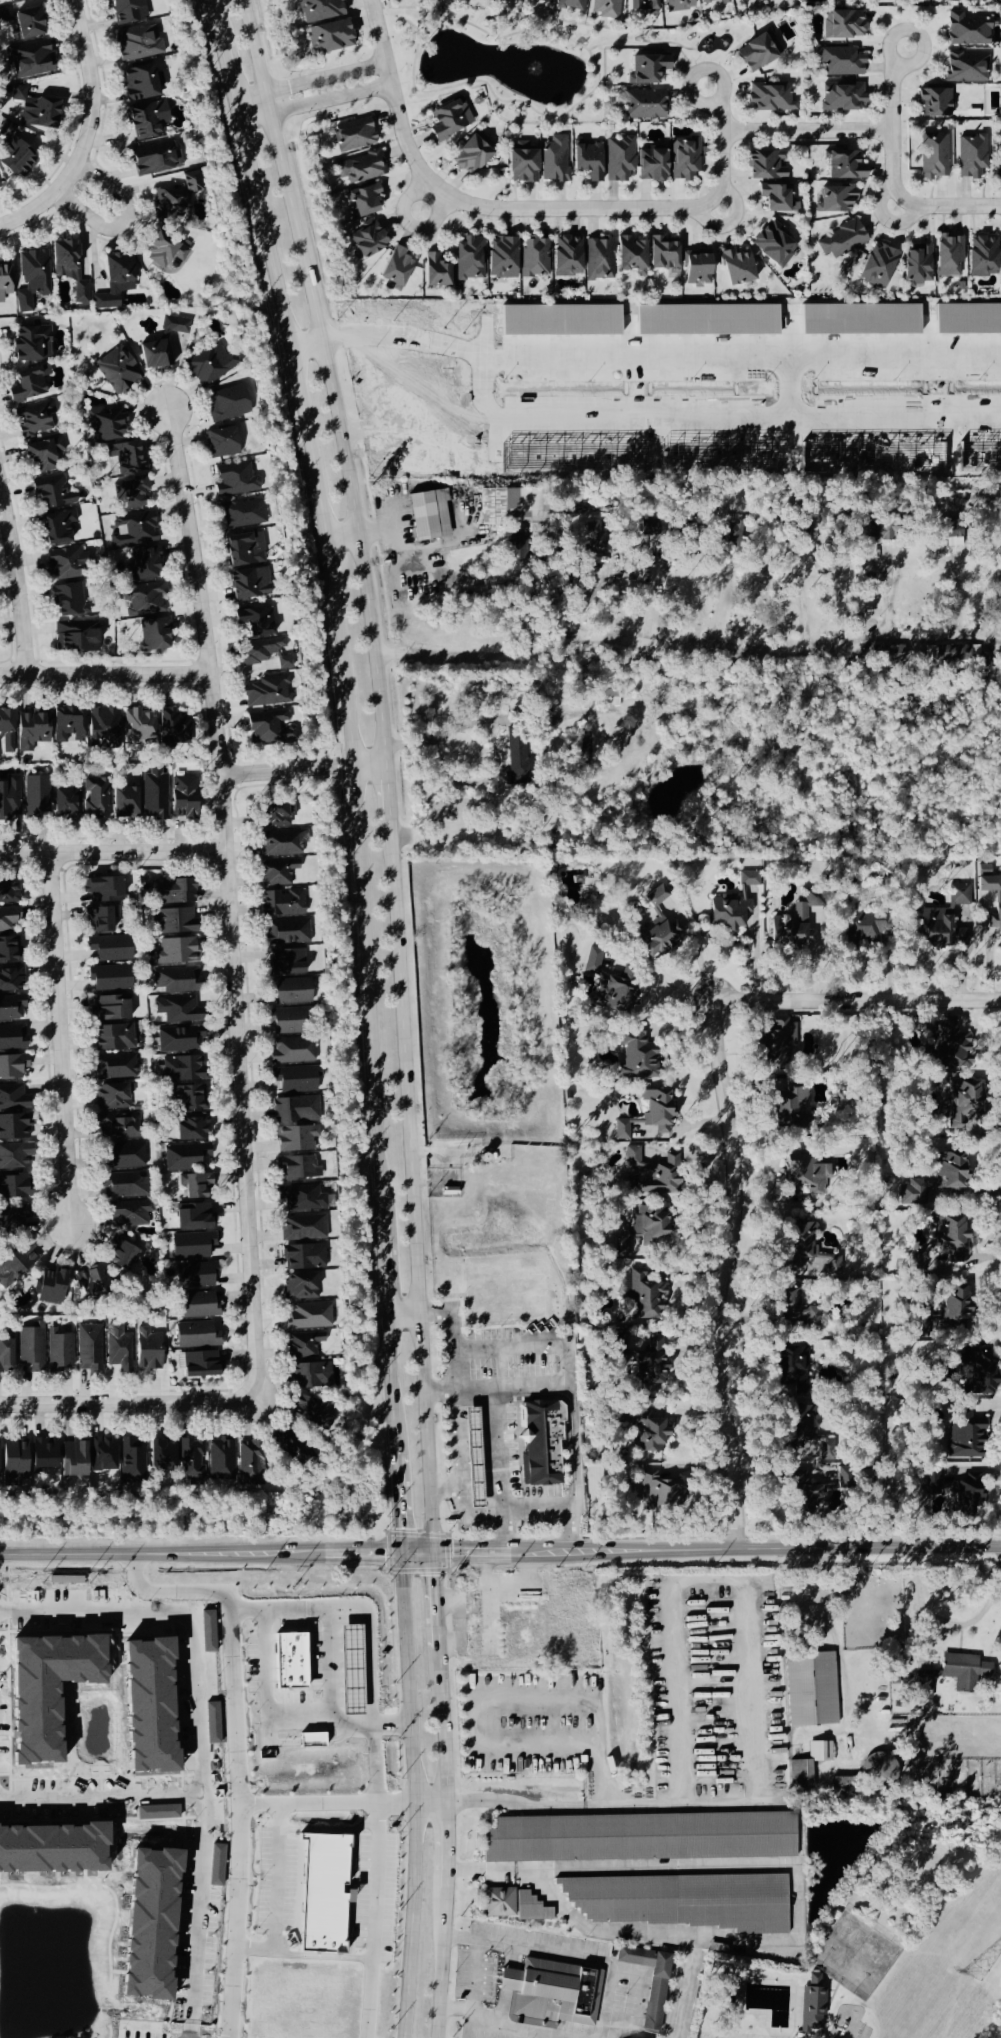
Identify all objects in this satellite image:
building: (13, 0)
building: (543, 0)
building: (714, 2)
building: (999, 3)
building: (571, 5)
building: (678, 5)
building: (642, 7)
building: (606, 9)
building: (319, 10)
building: (127, 11)
building: (3, 17)
building: (28, 24)
building: (843, 25)
building: (968, 30)
road: (484, 31)
building: (330, 38)
building: (138, 43)
road: (642, 43)
building: (759, 52)
park: (532, 56)
building: (31, 60)
building: (841, 62)
building: (967, 68)
building: (647, 69)
road: (308, 80)
road: (400, 81)
building: (139, 84)
building: (19, 95)
building: (843, 97)
building: (771, 98)
road: (393, 101)
road: (521, 101)
road: (313, 102)
building: (935, 103)
building: (645, 105)
building: (38, 114)
building: (147, 120)
building: (450, 120)
road: (890, 126)
road: (805, 129)
road: (89, 132)
building: (354, 135)
road: (720, 147)
building: (14, 154)
building: (473, 155)
building: (1000, 155)
building: (933, 156)
building: (971, 157)
building: (155, 158)
building: (684, 159)
building: (555, 160)
building: (588, 160)
building: (619, 160)
building: (521, 164)
building: (652, 165)
building: (767, 166)
building: (844, 166)
building: (360, 169)
building: (191, 183)
building: (778, 199)
building: (835, 200)
building: (363, 202)
building: (169, 206)
road: (946, 207)
road: (575, 211)
road: (117, 220)
road: (410, 223)
building: (841, 240)
building: (368, 241)
building: (774, 244)
building: (165, 252)
building: (663, 254)
building: (630, 255)
building: (567, 257)
building: (982, 257)
building: (502, 258)
building: (535, 258)
building: (949, 258)
building: (470, 259)
building: (599, 259)
building: (917, 265)
building: (697, 267)
building: (877, 267)
building: (68, 268)
building: (396, 268)
building: (737, 268)
building: (436, 272)
building: (33, 279)
building: (5, 282)
building: (114, 282)
building: (175, 325)
road: (385, 340)
building: (31, 344)
building: (155, 354)
road: (743, 361)
building: (209, 364)
building: (526, 365)
building: (117, 370)
road: (325, 378)
building: (29, 383)
crop: (674, 385)
road: (789, 391)
building: (227, 404)
building: (35, 419)
road: (715, 420)
building: (105, 424)
road: (380, 434)
building: (222, 443)
building: (484, 450)
building: (42, 457)
building: (125, 457)
building: (235, 479)
building: (52, 492)
building: (130, 494)
building: (509, 506)
building: (242, 514)
building: (429, 515)
building: (59, 527)
building: (132, 530)
building: (245, 549)
building: (66, 564)
building: (142, 564)
road: (628, 574)
road: (447, 575)
road: (18, 581)
building: (249, 584)
road: (955, 593)
road: (586, 595)
road: (649, 596)
road: (888, 596)
building: (144, 600)
building: (68, 601)
road: (720, 607)
road: (336, 608)
road: (803, 611)
building: (254, 620)
building: (154, 635)
building: (76, 637)
road: (688, 643)
building: (264, 654)
road: (103, 675)
building: (480, 686)
building: (268, 692)
building: (606, 698)
building: (67, 725)
building: (138, 727)
building: (173, 727)
building: (268, 728)
building: (103, 729)
building: (6, 731)
building: (31, 731)
road: (436, 735)
building: (517, 760)
road: (302, 767)
road: (388, 792)
building: (36, 795)
building: (153, 795)
building: (182, 797)
building: (10, 799)
building: (95, 799)
building: (124, 802)
building: (64, 803)
building: (279, 814)
building: (283, 843)
road: (111, 848)
building: (277, 873)
building: (749, 878)
building: (988, 884)
building: (103, 890)
building: (8, 893)
road: (226, 903)
building: (282, 904)
building: (728, 912)
building: (99, 919)
building: (7, 920)
building: (994, 920)
building: (946, 921)
building: (174, 922)
building: (795, 926)
building: (655, 930)
building: (286, 932)
building: (110, 948)
building: (6, 950)
building: (175, 951)
building: (288, 961)
building: (592, 961)
building: (109, 978)
building: (11, 979)
building: (175, 981)
building: (290, 991)
building: (616, 991)
building: (11, 1008)
building: (110, 1009)
building: (178, 1010)
building: (290, 1021)
road: (56, 1037)
building: (12, 1038)
building: (114, 1038)
building: (180, 1040)
building: (950, 1043)
building: (777, 1044)
building: (292, 1051)
building: (637, 1055)
building: (12, 1067)
building: (117, 1067)
building: (183, 1069)
building: (295, 1079)
building: (111, 1098)
building: (13, 1099)
building: (188, 1099)
building: (962, 1103)
building: (790, 1105)
building: (295, 1109)
building: (657, 1112)
road: (730, 1126)
building: (15, 1127)
building: (118, 1127)
building: (191, 1129)
building: (295, 1139)
building: (124, 1156)
building: (15, 1157)
building: (186, 1158)
building: (296, 1168)
building: (654, 1171)
building: (808, 1178)
building: (937, 1181)
building: (126, 1185)
building: (194, 1185)
road: (409, 1187)
building: (15, 1188)
building: (302, 1198)
building: (130, 1213)
building: (192, 1217)
building: (302, 1229)
building: (640, 1231)
building: (949, 1238)
building: (802, 1244)
building: (191, 1245)
building: (120, 1255)
building: (303, 1258)
building: (917, 1264)
building: (14, 1265)
building: (833, 1265)
road: (381, 1270)
building: (197, 1273)
building: (90, 1283)
building: (50, 1287)
building: (299, 1287)
building: (643, 1293)
building: (198, 1305)
road: (399, 1310)
building: (794, 1312)
building: (308, 1316)
building: (918, 1325)
building: (197, 1333)
building: (303, 1345)
building: (31, 1348)
building: (89, 1348)
building: (148, 1348)
building: (118, 1350)
building: (59, 1354)
building: (6, 1357)
building: (200, 1365)
building: (647, 1367)
building: (792, 1368)
building: (978, 1375)
building: (311, 1376)
road: (562, 1377)
road: (388, 1385)
road: (127, 1400)
building: (313, 1414)
road: (457, 1431)
building: (650, 1434)
building: (965, 1439)
building: (807, 1440)
building: (541, 1444)
road: (576, 1444)
road: (495, 1451)
building: (43, 1454)
building: (104, 1455)
building: (162, 1455)
building: (474, 1456)
building: (74, 1458)
building: (14, 1461)
building: (191, 1461)
building: (221, 1462)
building: (131, 1463)
building: (249, 1464)
building: (841, 1480)
road: (443, 1488)
building: (951, 1488)
building: (658, 1494)
building: (806, 1500)
road: (396, 1505)
road: (532, 1509)
road: (566, 1530)
road: (734, 1539)
road: (784, 1549)
traffic signals: (399, 1552)
traffic signals: (429, 1552)
road: (498, 1552)
road: (214, 1553)
road: (705, 1579)
road: (509, 1584)
road: (447, 1592)
road: (432, 1598)
road: (461, 1618)
road: (954, 1622)
building: (208, 1631)
building: (503, 1633)
road: (370, 1641)
building: (292, 1661)
building: (354, 1671)
gas station: (354, 1671)
building: (964, 1671)
building: (924, 1684)
building: (811, 1688)
road: (510, 1695)
road: (232, 1705)
road: (199, 1713)
road: (282, 1721)
building: (213, 1722)
road: (439, 1726)
building: (809, 1765)
building: (878, 1766)
building: (842, 1784)
road: (410, 1795)
road: (604, 1808)
building: (158, 1812)
building: (641, 1837)
road: (442, 1840)
building: (216, 1864)
road: (795, 1875)
road: (376, 1889)
building: (324, 1893)
road: (200, 1898)
road: (277, 1898)
building: (684, 1900)
building: (500, 1903)
building: (530, 1907)
road: (235, 1921)
road: (436, 1956)
road: (580, 1958)
road: (476, 1974)
building: (650, 1982)
power tower: (962, 1990)
building: (812, 2006)
building: (797, 2012)
road: (515, 2027)

